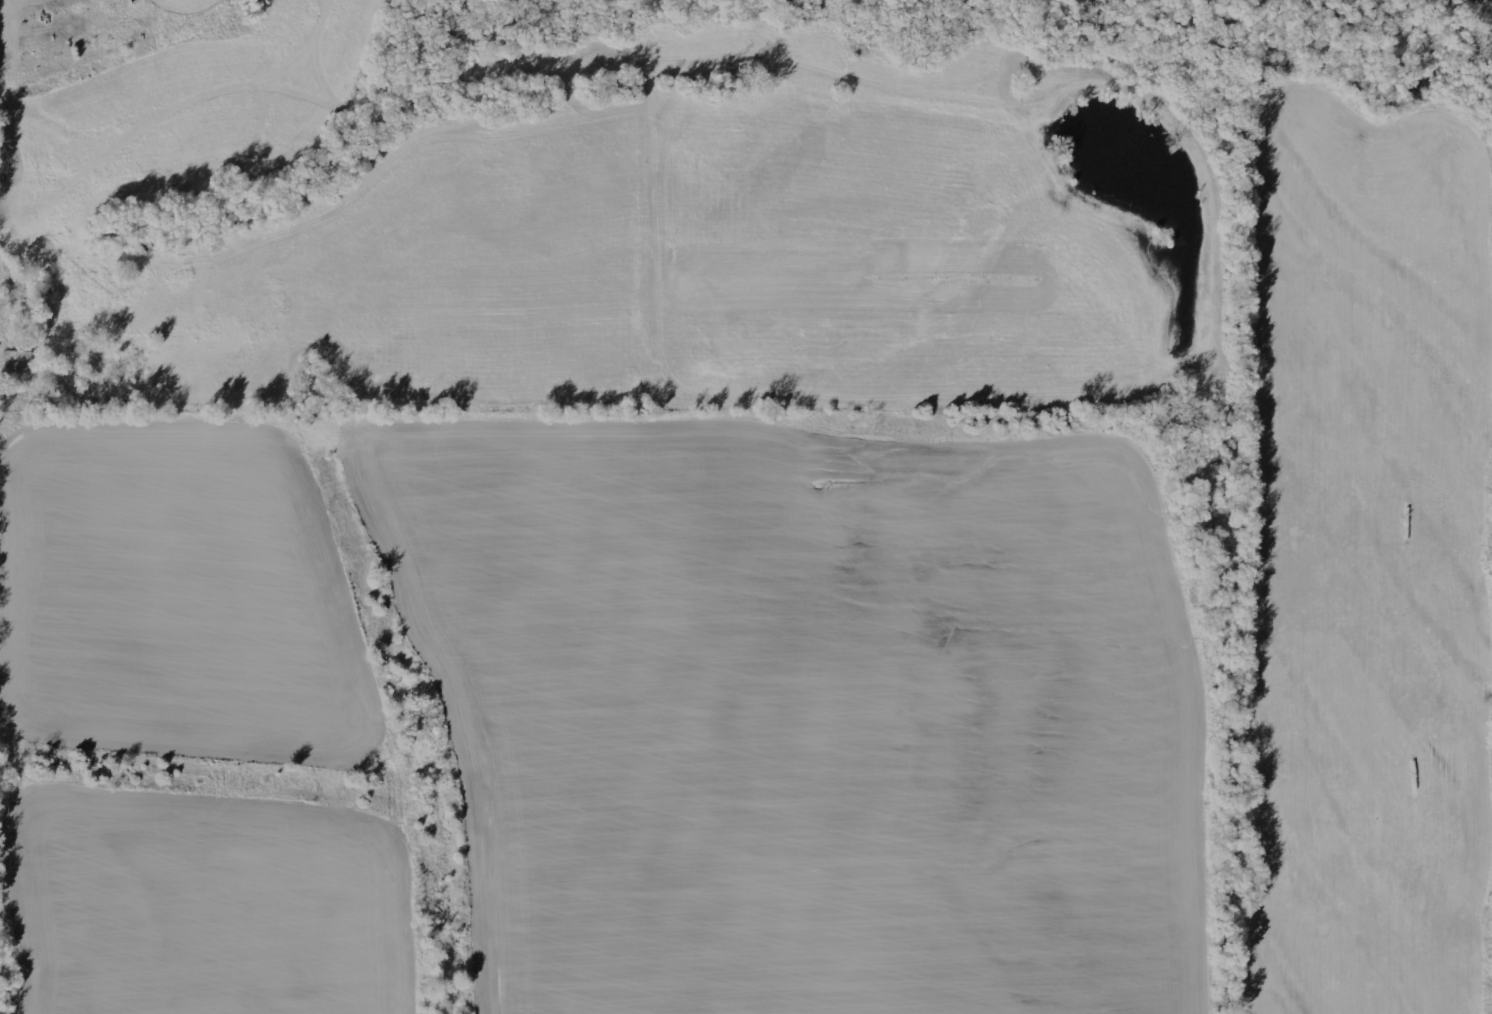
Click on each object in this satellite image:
building: (12, 362)

